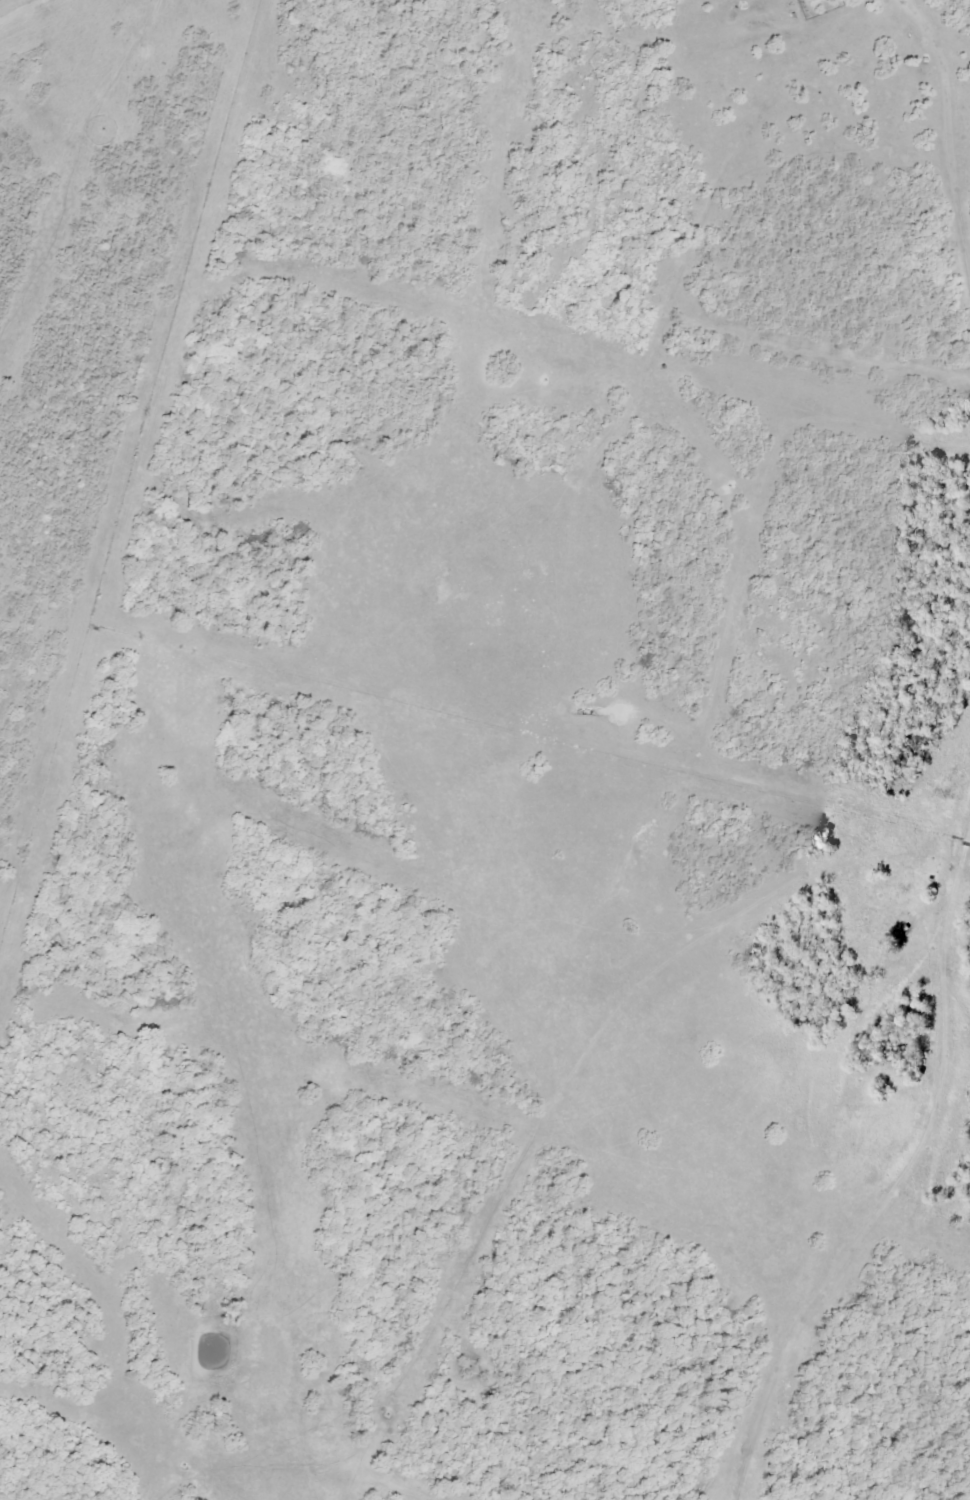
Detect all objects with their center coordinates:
road: (18, 9)
building: (793, 15)
building: (827, 27)
building: (913, 28)
building: (935, 899)

